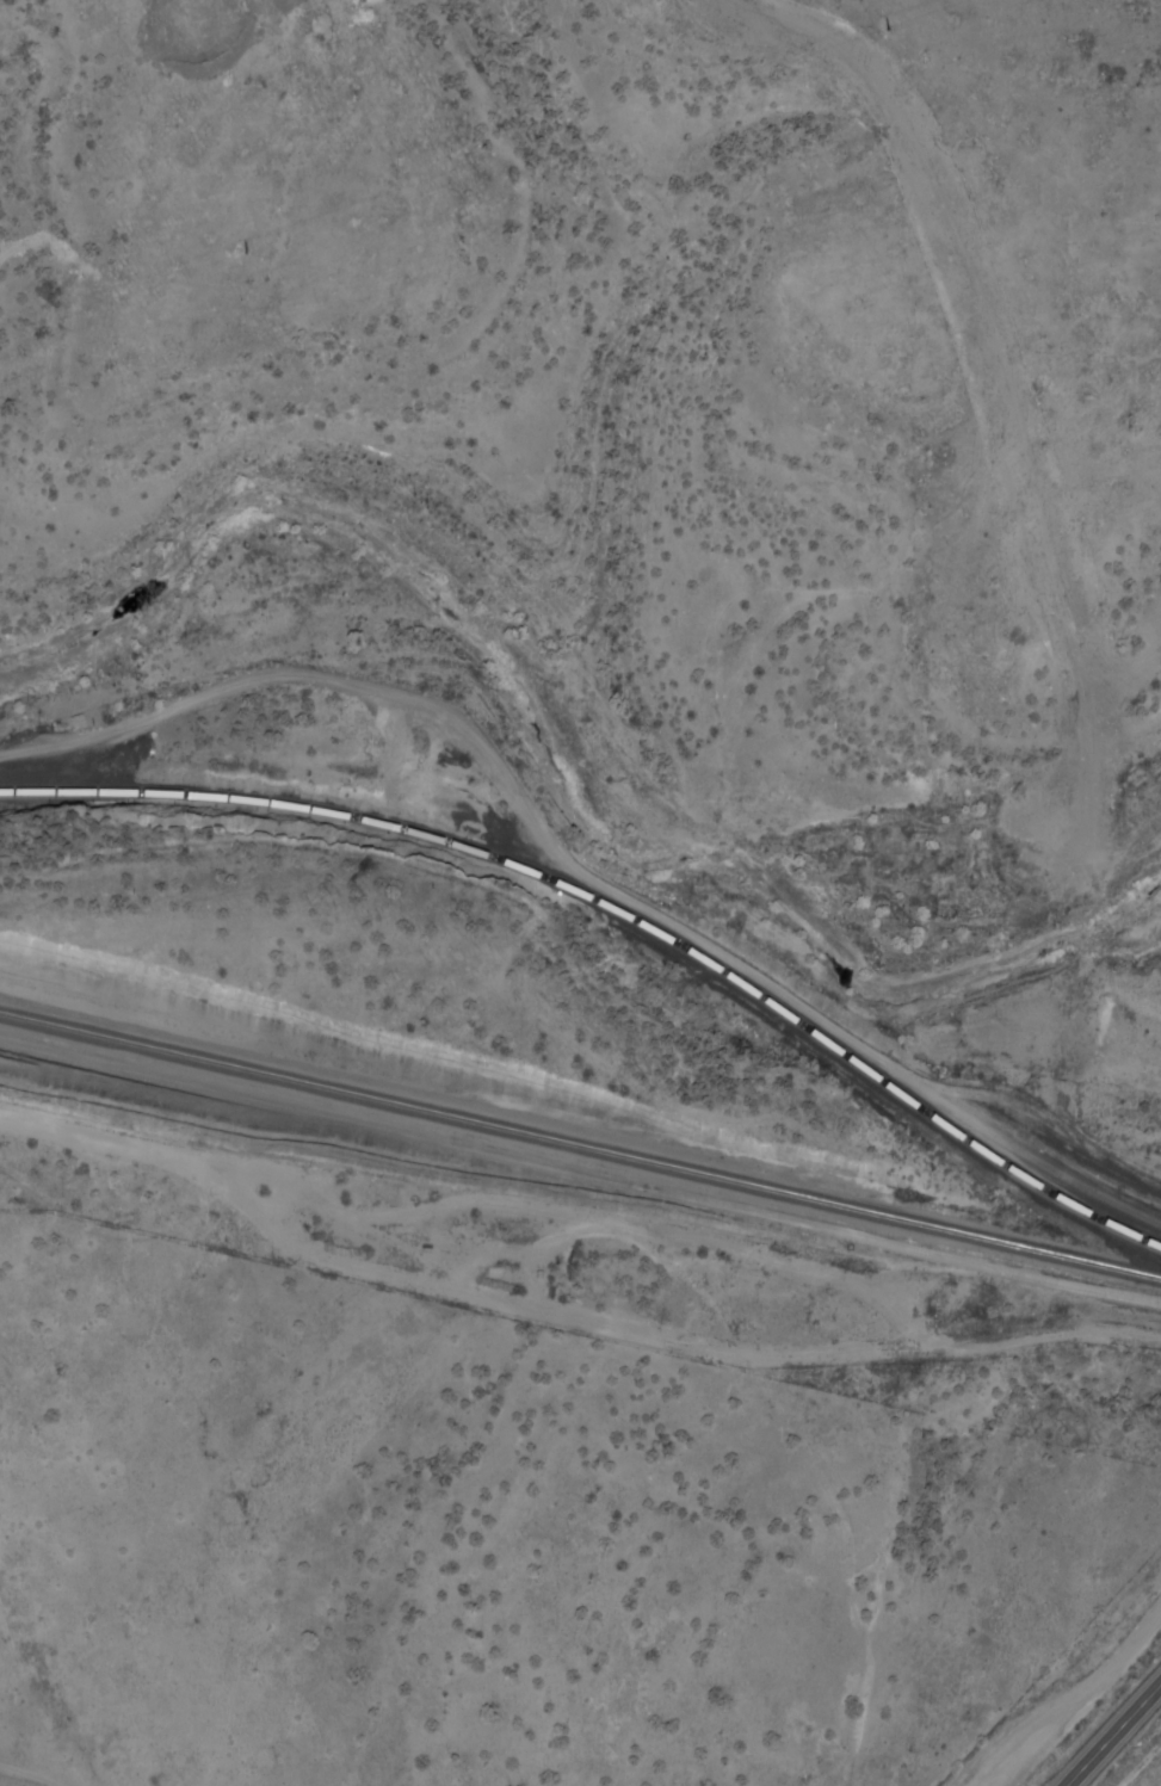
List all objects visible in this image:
quarry: (587, 178)
railway: (618, 914)
railway: (580, 1149)
road: (1044, 1164)
road: (1112, 1732)
road: (24, 1775)

